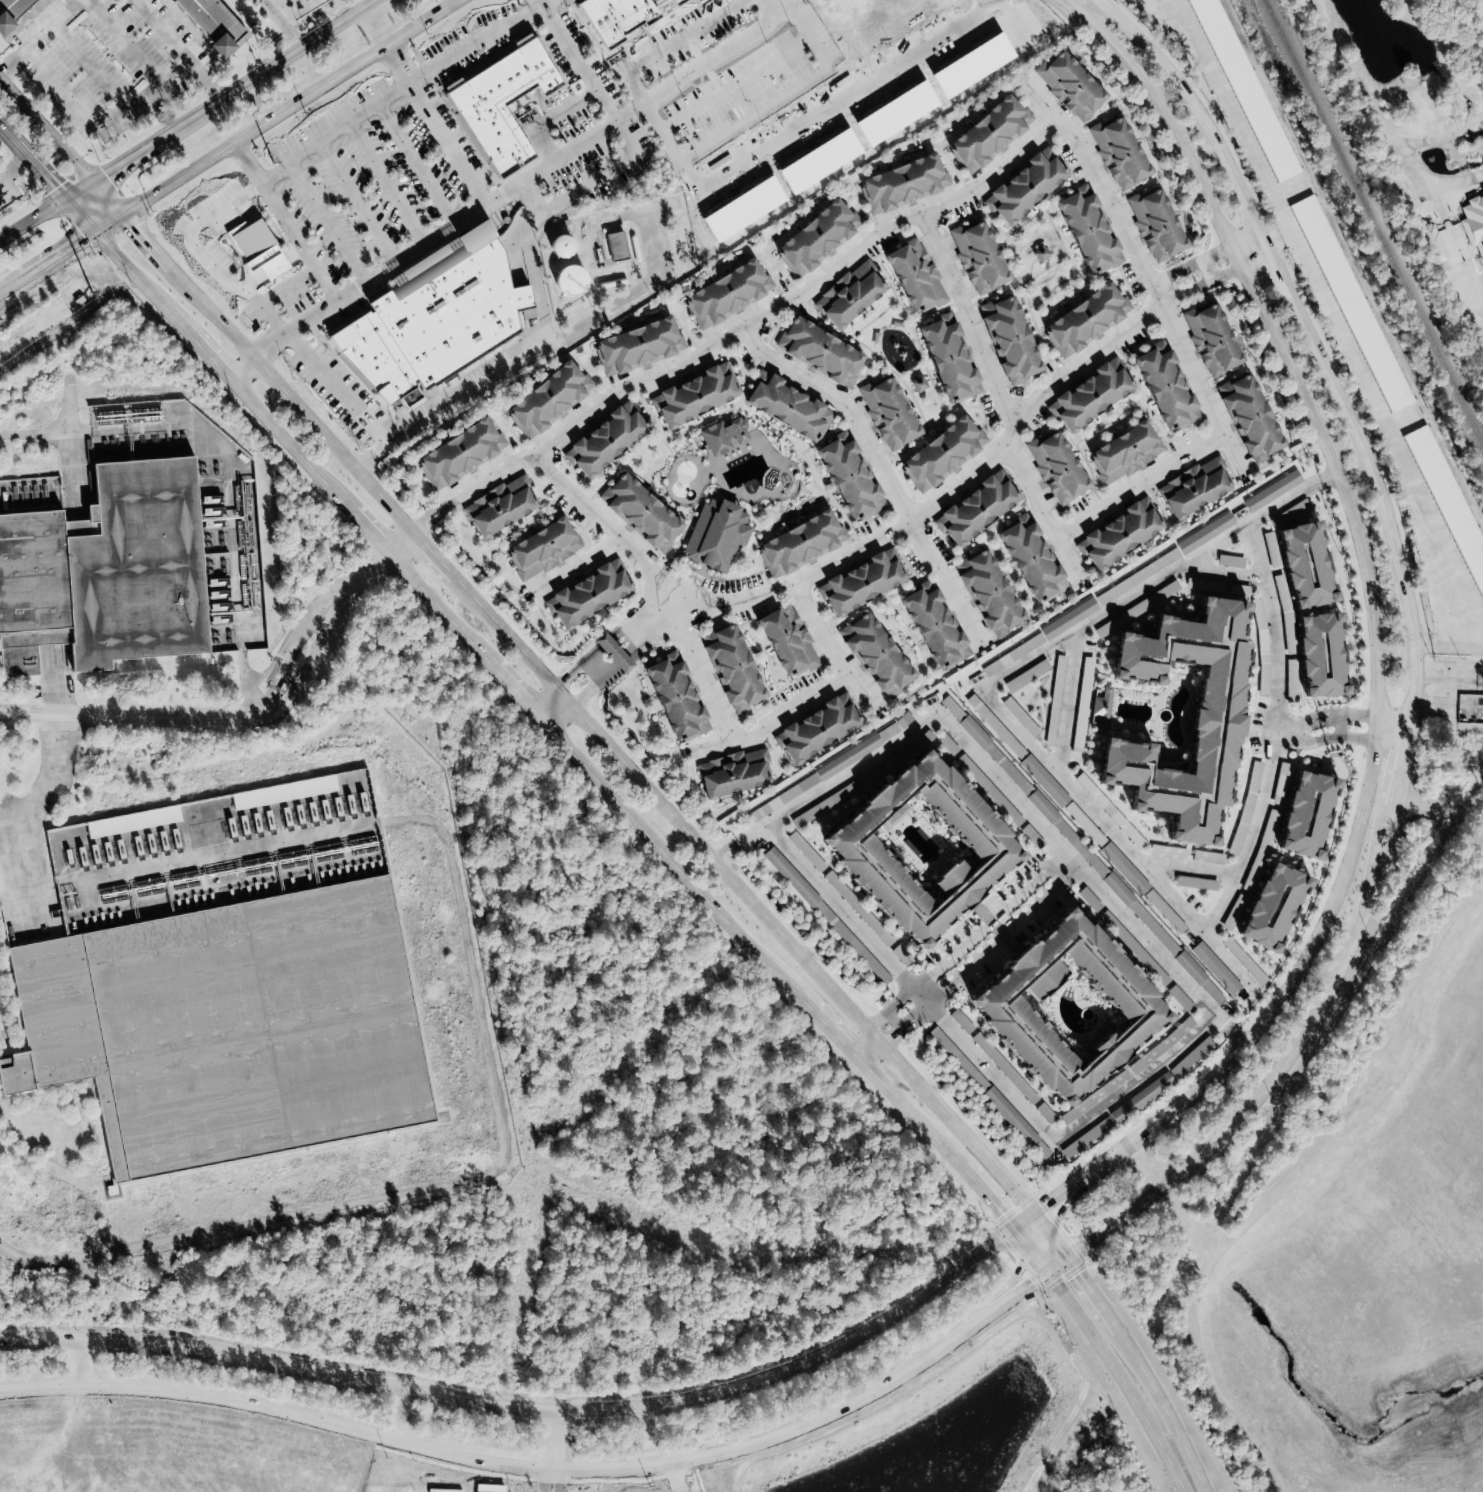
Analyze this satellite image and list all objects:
building: (673, 1)
road: (370, 2)
building: (677, 2)
road: (775, 5)
power tower: (516, 7)
building: (10, 8)
building: (209, 18)
building: (610, 19)
road: (377, 22)
road: (38, 35)
road: (669, 43)
road: (181, 47)
road: (579, 60)
road: (264, 70)
road: (737, 81)
building: (1067, 83)
road: (401, 90)
road: (1365, 99)
building: (498, 102)
road: (286, 105)
road: (764, 108)
road: (1234, 112)
road: (439, 121)
road: (101, 128)
road: (45, 131)
building: (987, 132)
road: (7, 137)
building: (1119, 150)
road: (126, 157)
road: (248, 161)
power tower: (272, 163)
road: (419, 164)
road: (38, 172)
traffic signals: (104, 172)
road: (596, 179)
building: (899, 182)
road: (388, 184)
road: (974, 186)
building: (1024, 187)
road: (0, 188)
traffic signals: (53, 188)
road: (77, 189)
building: (1482, 191)
road: (506, 193)
road: (359, 203)
road: (77, 215)
road: (31, 217)
building: (1473, 221)
road: (106, 222)
road: (328, 222)
railway: (1373, 222)
building: (1153, 223)
traffic signals: (133, 227)
building: (1085, 230)
road: (137, 231)
traffic signals: (85, 237)
building: (812, 237)
building: (245, 241)
road: (300, 241)
building: (616, 245)
road: (57, 254)
road: (204, 256)
building: (977, 258)
road: (1227, 260)
building: (913, 278)
building: (568, 279)
road: (11, 283)
road: (632, 290)
building: (723, 293)
power tower: (89, 294)
building: (849, 296)
building: (1353, 303)
building: (1081, 320)
building: (429, 324)
building: (1209, 338)
building: (1008, 342)
building: (631, 346)
building: (815, 350)
building: (946, 360)
building: (920, 384)
road: (476, 387)
building: (1161, 387)
building: (548, 393)
building: (692, 394)
building: (1087, 394)
building: (785, 406)
building: (885, 413)
building: (1248, 423)
road: (59, 434)
building: (725, 436)
building: (600, 439)
road: (1394, 439)
building: (1124, 450)
building: (458, 451)
road: (369, 454)
building: (936, 454)
road: (880, 464)
building: (1055, 468)
road: (70, 470)
building: (846, 478)
road: (483, 479)
building: (1190, 487)
building: (1274, 491)
building: (1450, 499)
road: (924, 503)
building: (498, 505)
building: (635, 510)
building: (970, 511)
building: (1291, 515)
building: (1207, 533)
building: (711, 534)
building: (1115, 536)
building: (797, 542)
building: (539, 549)
building: (1028, 560)
road: (580, 562)
building: (1296, 562)
road: (1364, 570)
building: (107, 572)
road: (1225, 574)
building: (855, 581)
building: (585, 593)
building: (986, 593)
building: (1070, 618)
road: (1275, 622)
building: (931, 625)
building: (785, 641)
road: (833, 646)
building: (613, 653)
building: (1014, 654)
building: (875, 658)
building: (1309, 659)
building: (730, 670)
building: (1086, 686)
road: (583, 693)
road: (1414, 694)
road: (516, 695)
building: (671, 696)
road: (1065, 700)
building: (954, 708)
building: (1102, 708)
road: (265, 710)
building: (1201, 711)
road: (1360, 715)
road: (1305, 717)
road: (1338, 726)
building: (815, 728)
building: (1052, 730)
road: (1394, 731)
road: (1360, 735)
road: (608, 748)
road: (988, 764)
road: (1055, 769)
building: (1011, 771)
building: (729, 775)
building: (284, 792)
road: (36, 795)
building: (1292, 815)
building: (133, 821)
building: (911, 845)
building: (1120, 862)
road: (1193, 869)
building: (1116, 885)
road: (838, 906)
building: (1261, 909)
road: (988, 919)
road: (997, 927)
road: (1003, 935)
road: (1235, 964)
building: (1217, 968)
building: (1056, 1005)
road: (886, 1011)
road: (895, 1020)
building: (228, 1026)
road: (1229, 1027)
road: (904, 1028)
road: (865, 1052)
road: (491, 1068)
building: (1117, 1116)
road: (1052, 1138)
road: (1120, 1149)
traffic signals: (1043, 1207)
road: (1061, 1209)
road: (995, 1212)
traffic signals: (999, 1217)
traffic signals: (1053, 1226)
traffic signals: (1021, 1264)
road: (1020, 1265)
traffic signals: (1075, 1271)
traffic signals: (1033, 1279)
road: (1087, 1289)
road: (82, 1298)
road: (960, 1336)
road: (80, 1360)
road: (1119, 1378)
road: (582, 1402)
road: (1114, 1411)
road: (1172, 1427)
road: (553, 1428)
road: (470, 1442)
road: (544, 1473)
road: (557, 1474)
road: (673, 1474)

